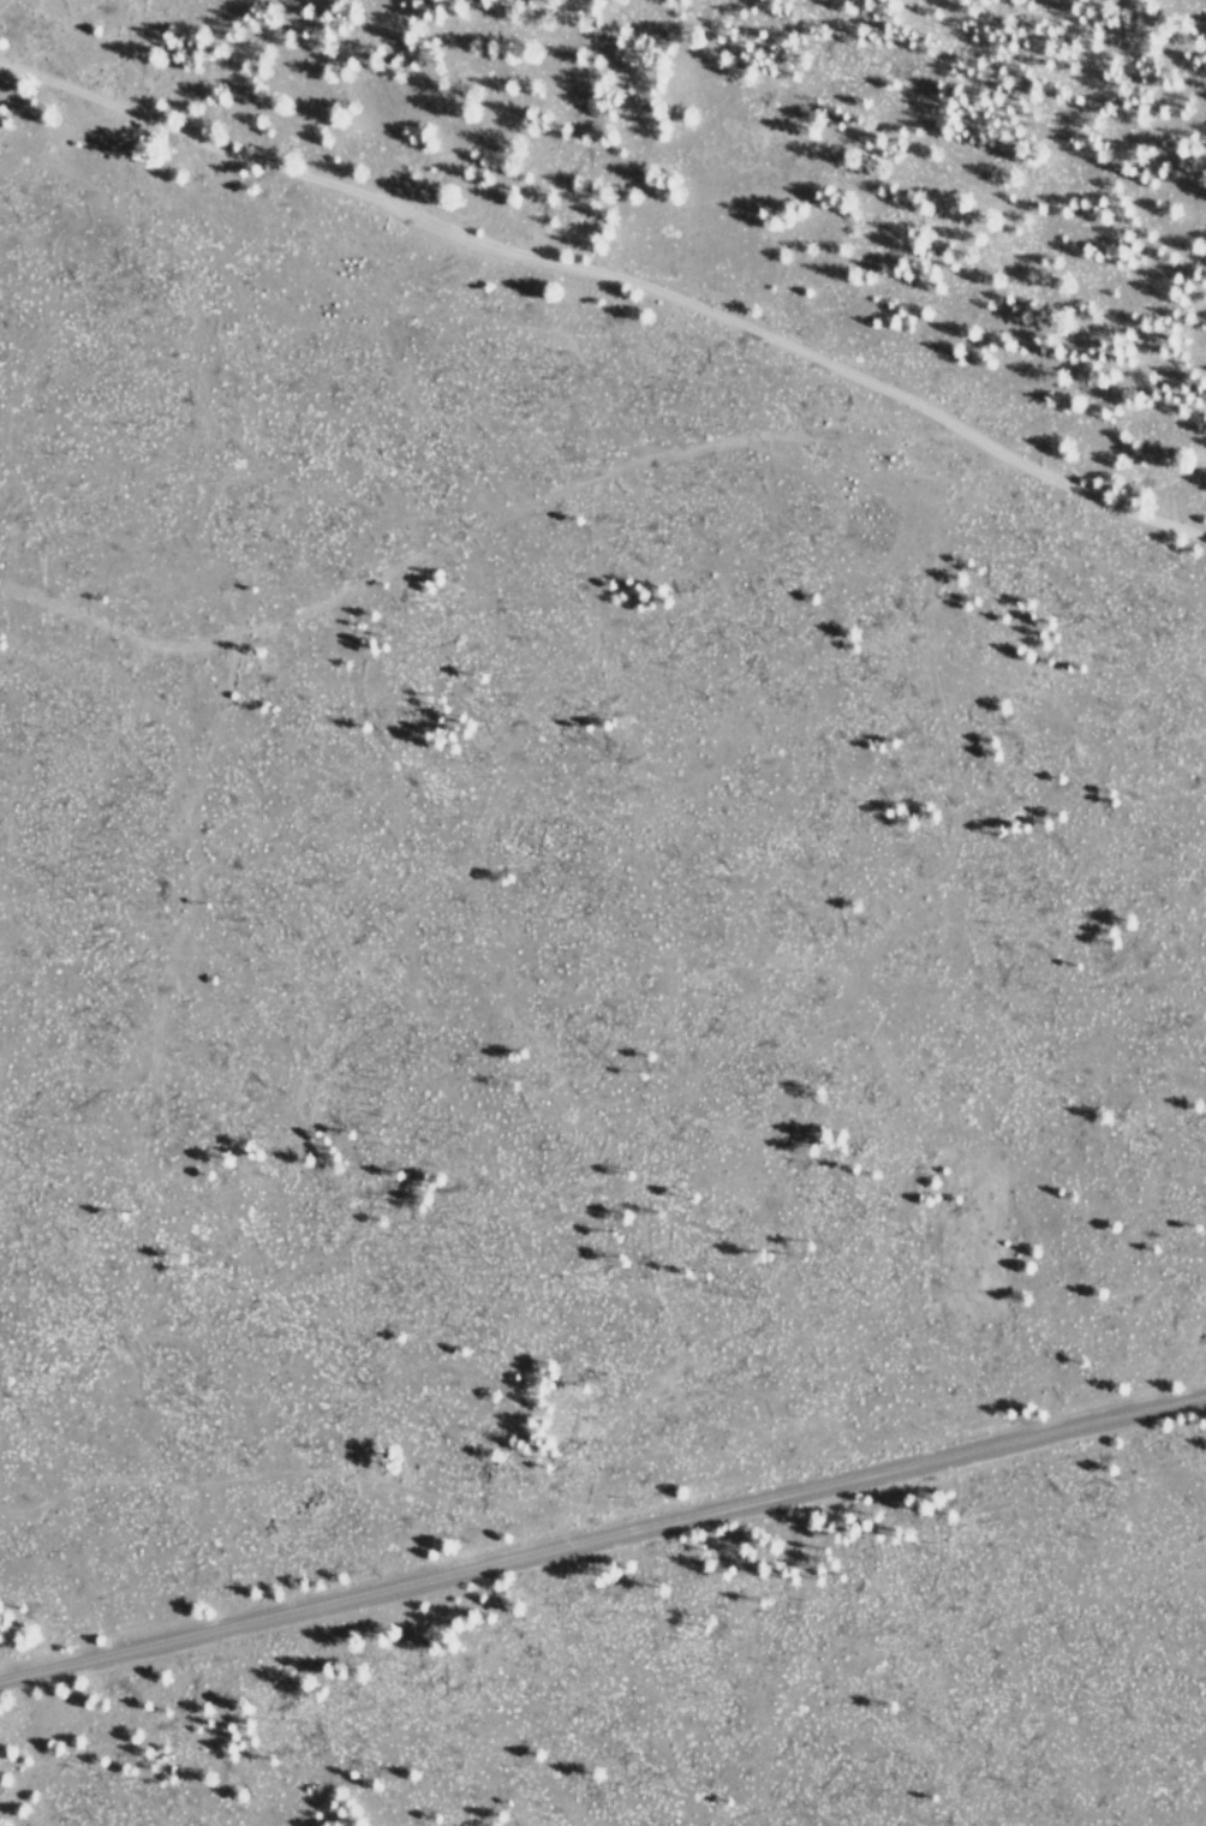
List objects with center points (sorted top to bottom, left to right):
road: (609, 484)
road: (601, 1458)

